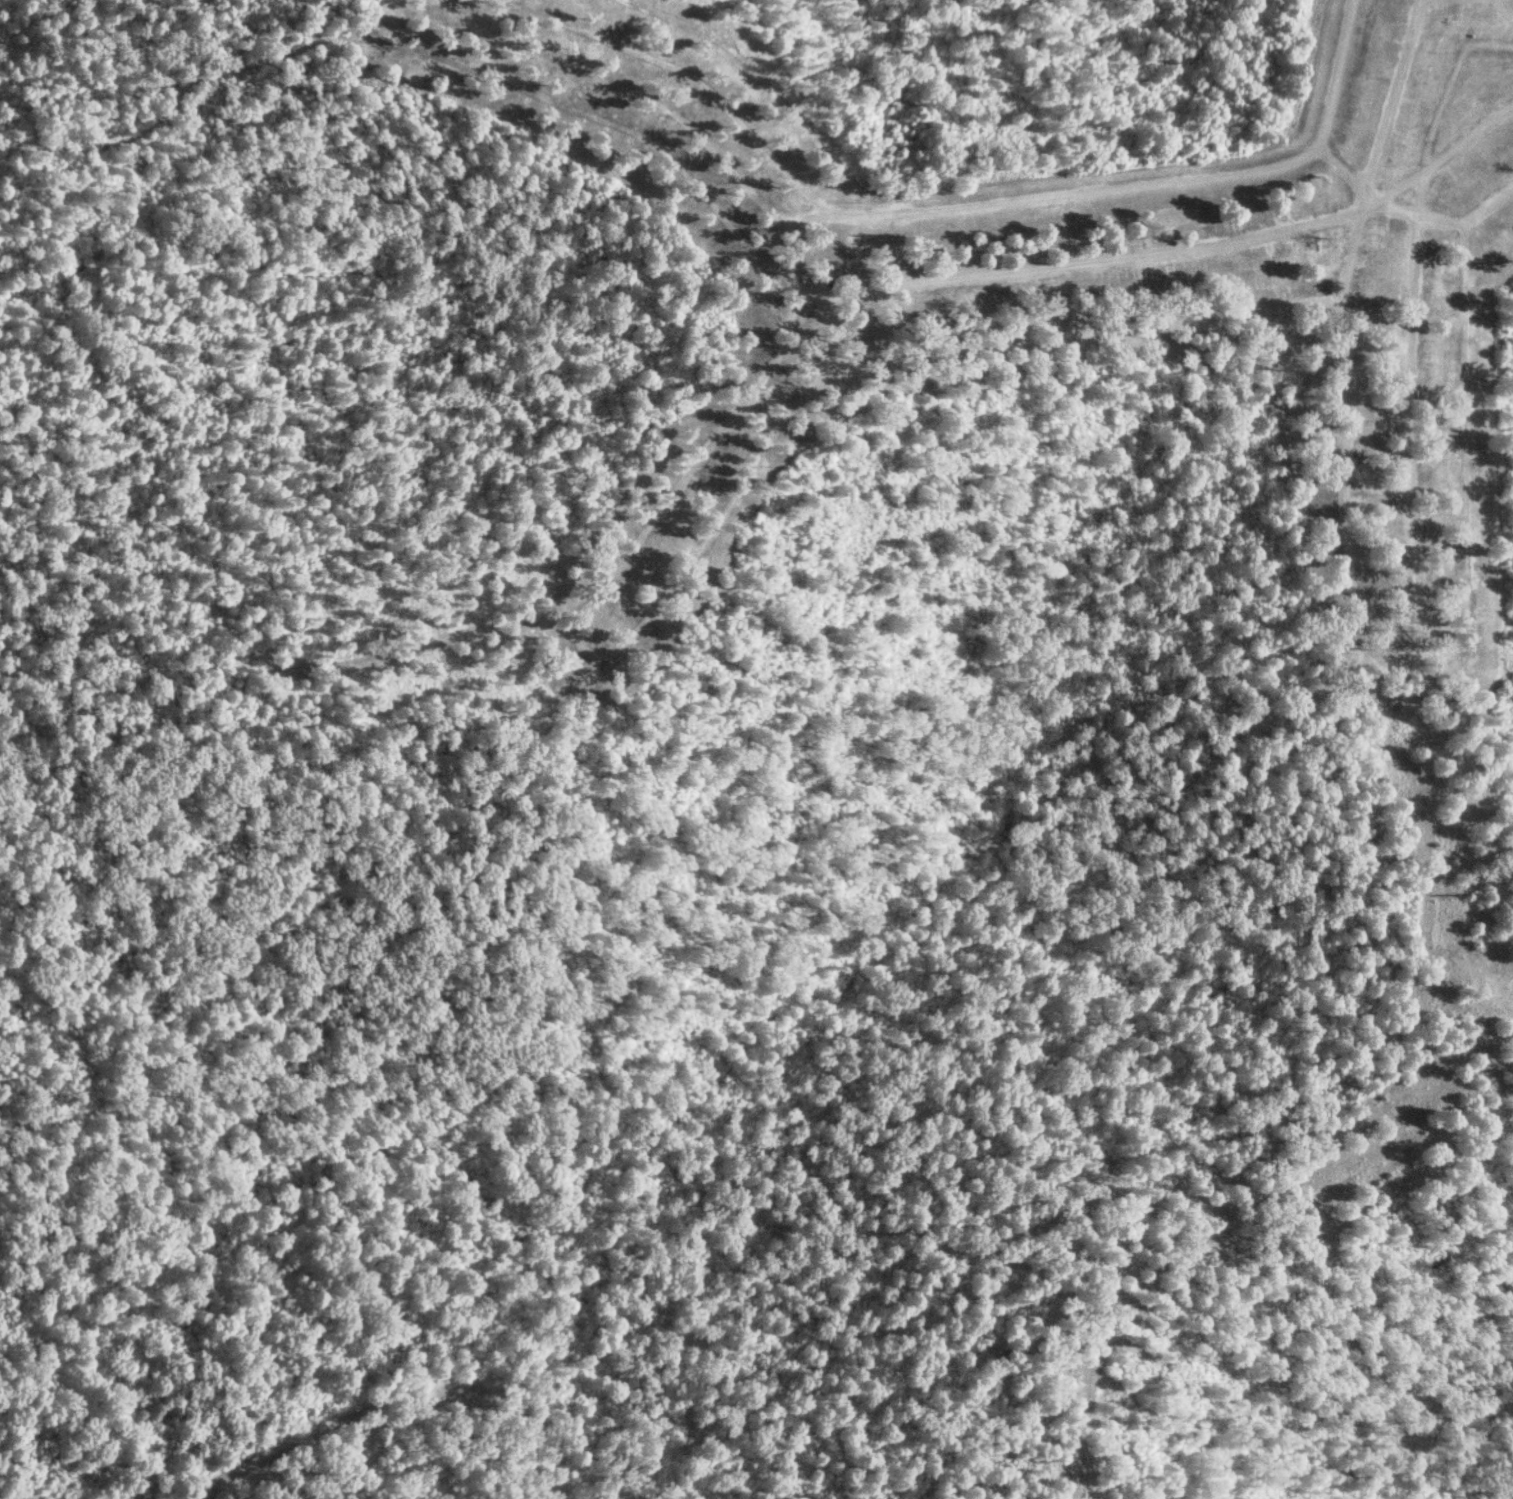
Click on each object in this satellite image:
road: (1444, 11)
road: (440, 12)
road: (430, 16)
road: (410, 19)
road: (1488, 41)
road: (692, 74)
road: (1448, 83)
road: (1393, 94)
road: (656, 100)
road: (1447, 151)
road: (1349, 172)
road: (1076, 188)
road: (1335, 217)
road: (808, 218)
road: (814, 248)
road: (1061, 263)
road: (804, 289)
road: (809, 298)
road: (804, 330)
road: (814, 333)
road: (1054, 338)
road: (812, 364)
road: (733, 415)
road: (737, 445)
road: (1346, 464)
road: (1378, 488)
road: (672, 513)
road: (686, 530)
road: (1412, 642)
road: (1398, 654)

